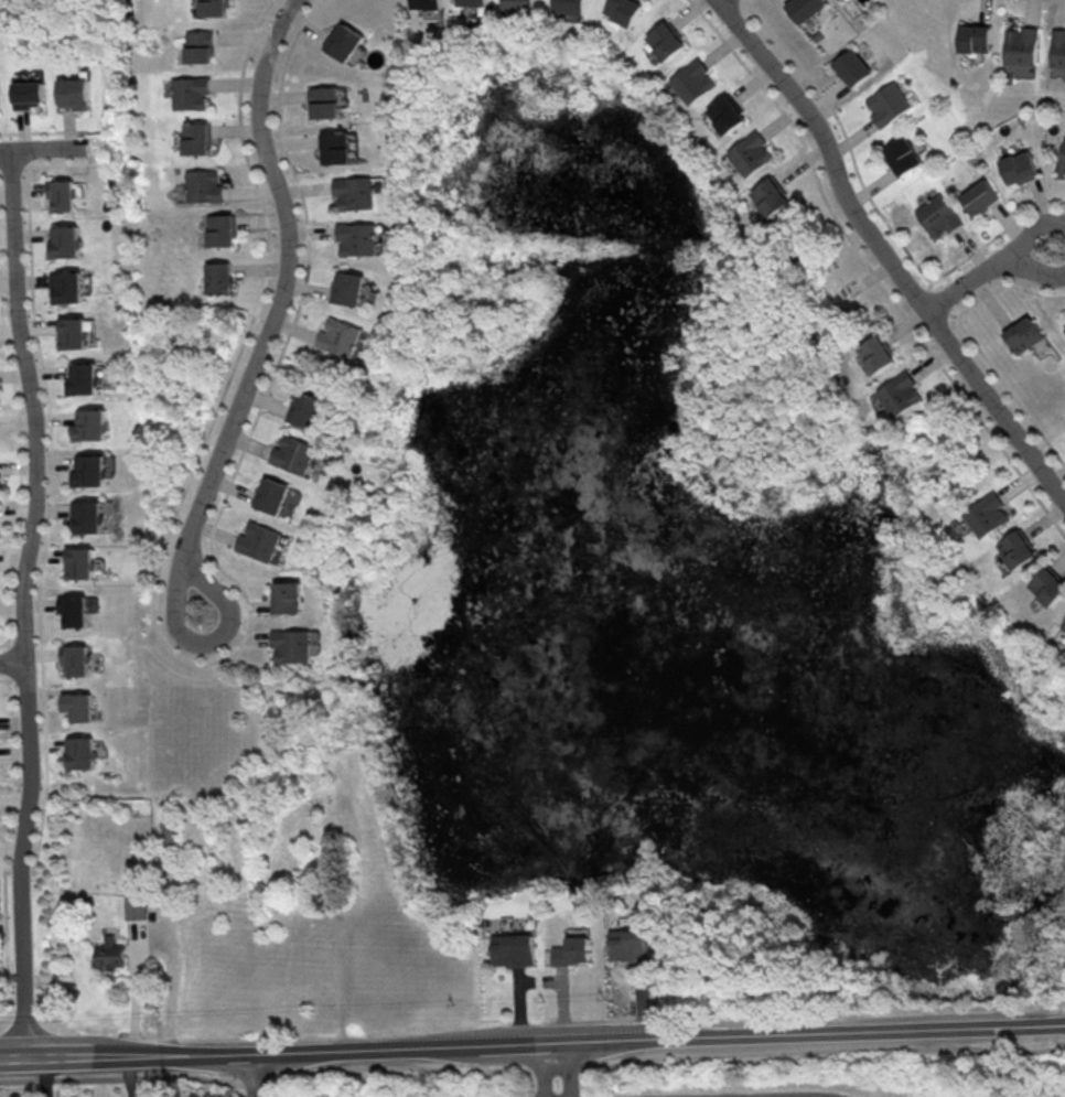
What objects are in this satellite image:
building: (472, 2)
building: (427, 4)
building: (518, 6)
building: (570, 7)
building: (212, 8)
building: (804, 9)
building: (625, 10)
building: (976, 37)
building: (345, 41)
building: (667, 41)
building: (1022, 45)
building: (198, 46)
building: (1058, 47)
building: (850, 67)
building: (693, 82)
building: (74, 93)
building: (190, 93)
building: (28, 94)
building: (325, 101)
building: (885, 103)
building: (727, 114)
road: (42, 131)
building: (196, 138)
building: (336, 148)
road: (41, 150)
building: (751, 153)
building: (902, 155)
building: (1062, 159)
road: (13, 164)
building: (1019, 166)
building: (203, 185)
building: (354, 192)
building: (60, 194)
building: (979, 197)
building: (767, 198)
building: (938, 216)
building: (220, 229)
building: (356, 238)
building: (62, 241)
road: (890, 251)
road: (991, 270)
building: (216, 279)
road: (291, 279)
building: (64, 287)
building: (348, 288)
building: (1064, 327)
building: (71, 333)
building: (1021, 334)
building: (338, 336)
building: (875, 354)
building: (82, 378)
building: (899, 394)
building: (304, 409)
building: (89, 424)
building: (293, 454)
building: (90, 471)
road: (53, 488)
road: (21, 490)
building: (271, 495)
building: (89, 516)
building: (982, 516)
building: (259, 540)
building: (1016, 549)
building: (80, 562)
building: (1047, 585)
building: (288, 596)
road: (22, 603)
building: (75, 611)
building: (1062, 634)
road: (208, 642)
building: (292, 645)
road: (12, 660)
building: (77, 660)
road: (12, 665)
building: (79, 706)
building: (80, 752)
road: (4, 842)
road: (19, 871)
building: (136, 906)
road: (151, 943)
building: (628, 944)
building: (513, 949)
building: (573, 950)
building: (110, 953)
road: (614, 1037)
road: (147, 1054)
road: (64, 1057)
road: (571, 1067)
road: (544, 1068)
road: (249, 1074)

